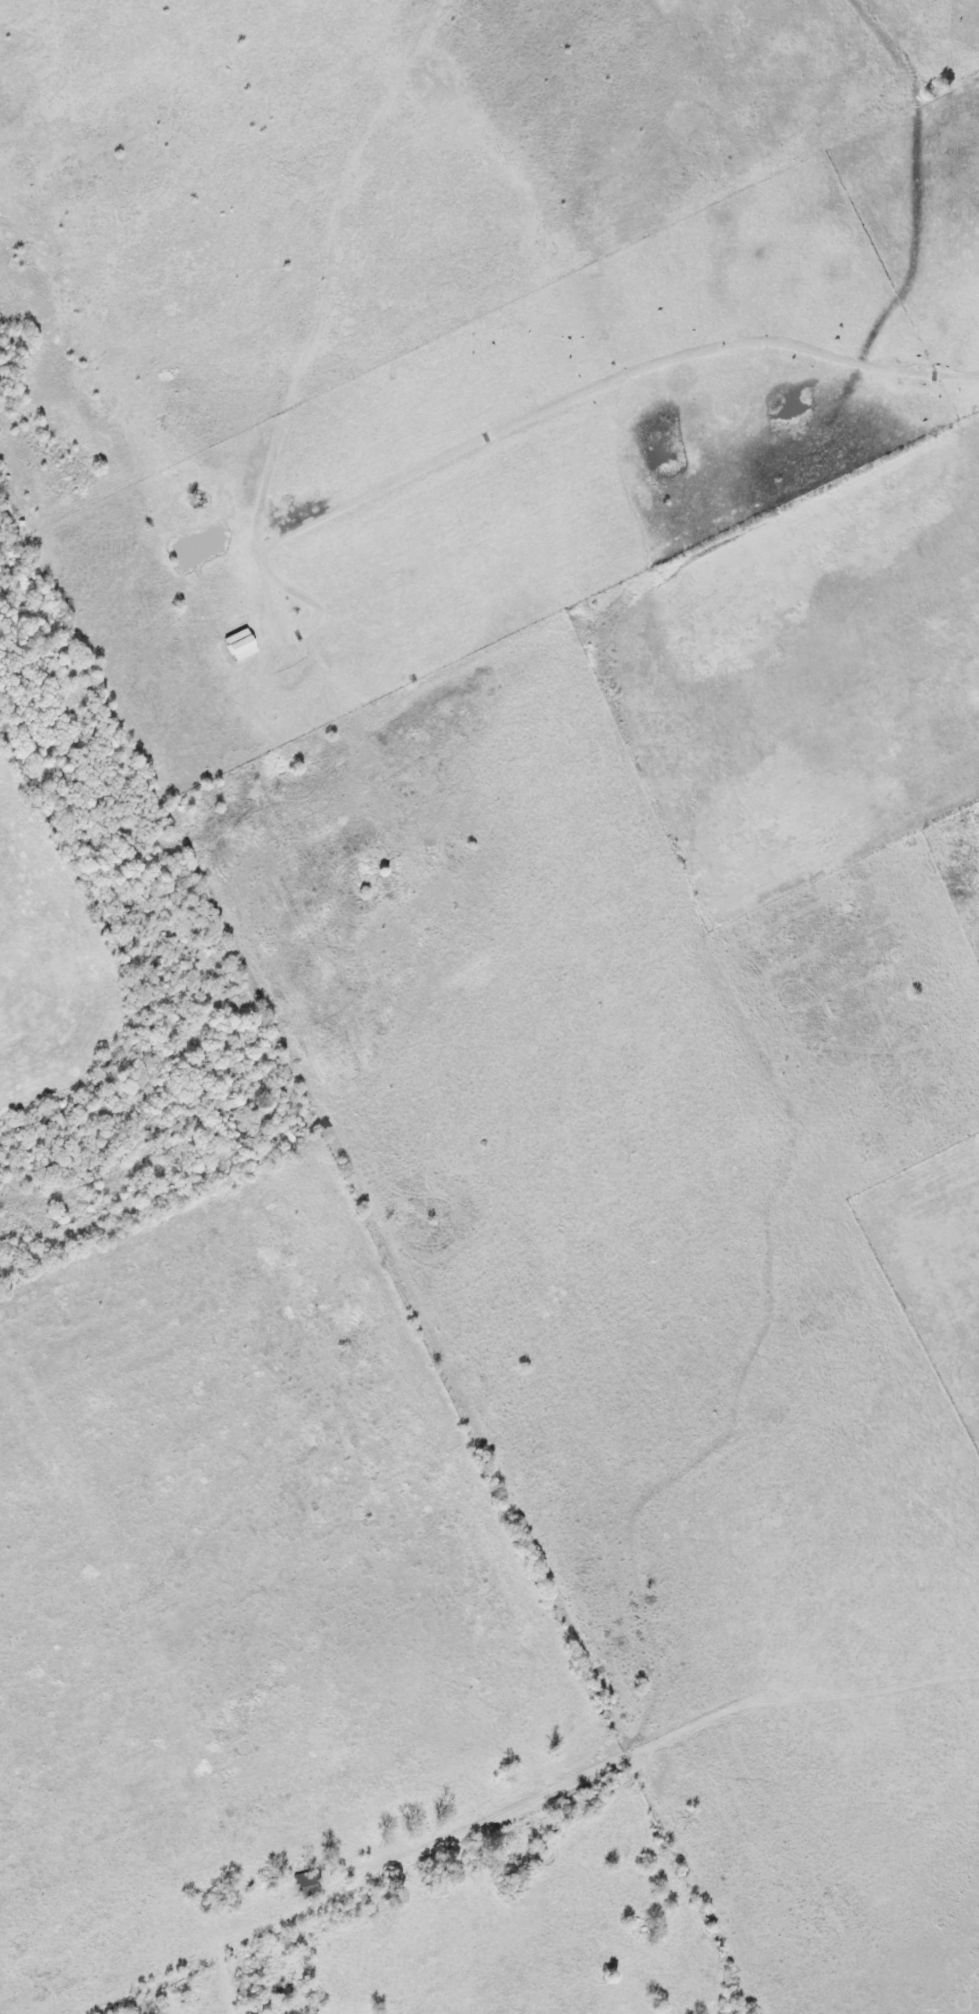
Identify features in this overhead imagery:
road: (430, 28)
building: (237, 644)
building: (304, 1884)

